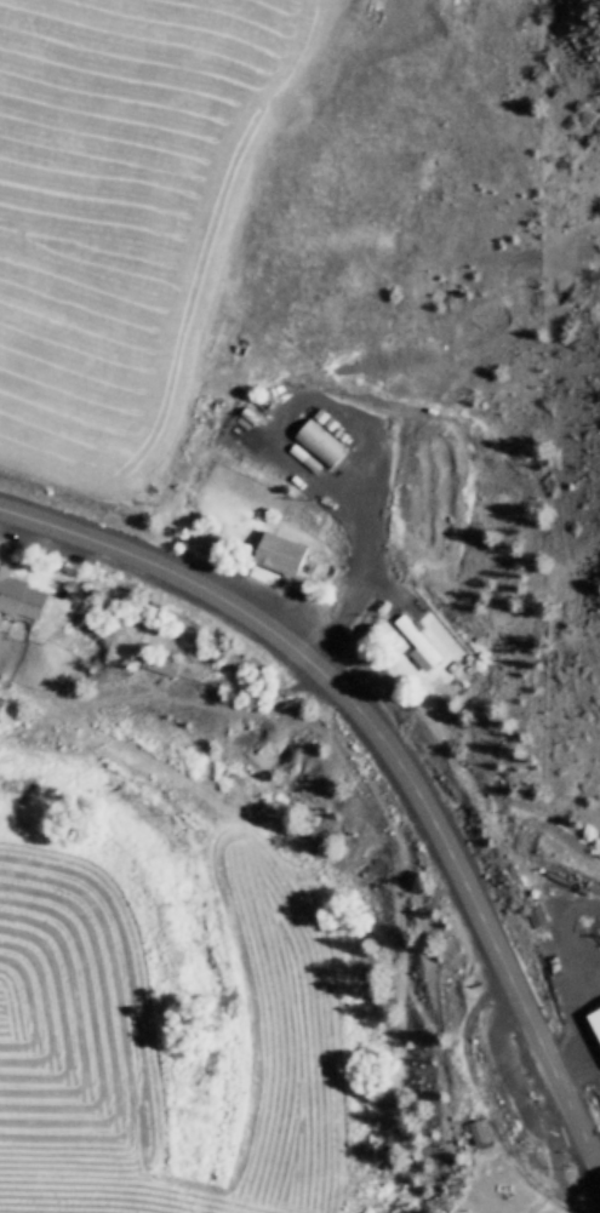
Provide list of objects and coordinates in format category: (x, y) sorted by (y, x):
building: (321, 440)
building: (281, 551)
building: (21, 595)
building: (418, 640)
road: (389, 759)
building: (480, 1131)

